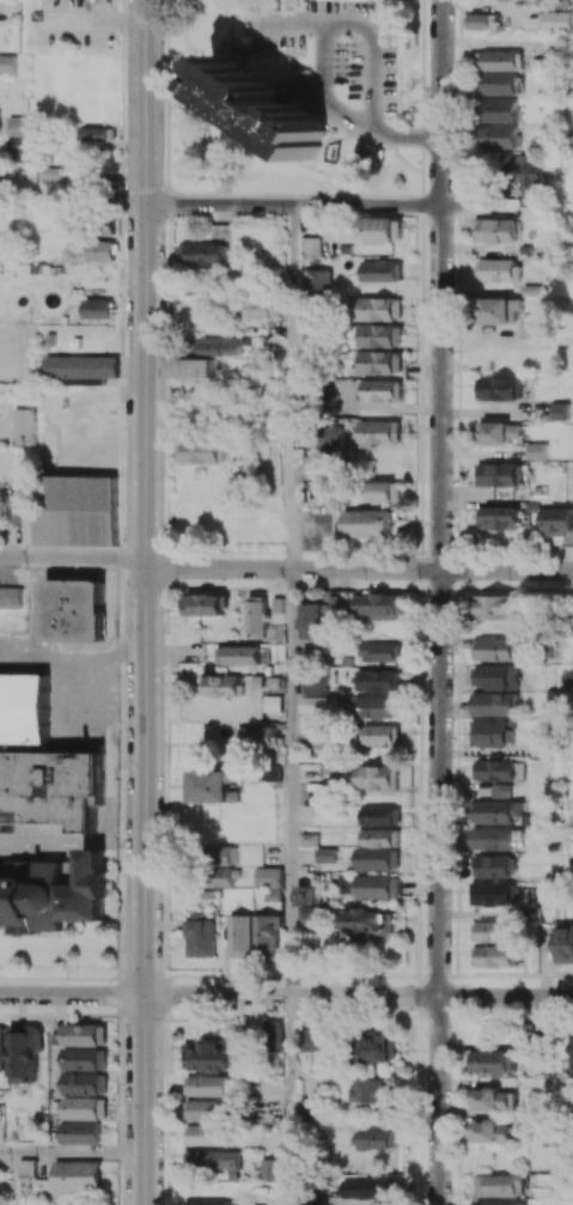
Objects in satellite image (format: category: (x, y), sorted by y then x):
building: (480, 20)
building: (556, 20)
road: (321, 43)
building: (502, 60)
building: (7, 62)
building: (500, 83)
building: (267, 106)
building: (501, 110)
building: (16, 126)
building: (95, 133)
building: (501, 136)
building: (17, 146)
building: (523, 171)
building: (87, 187)
road: (294, 203)
building: (104, 227)
building: (380, 229)
building: (495, 230)
building: (310, 247)
building: (100, 250)
building: (203, 252)
building: (500, 269)
building: (382, 270)
building: (316, 281)
building: (97, 308)
building: (263, 308)
building: (380, 309)
building: (498, 310)
building: (534, 325)
building: (380, 335)
building: (219, 346)
building: (380, 361)
building: (190, 367)
building: (81, 369)
road: (291, 387)
building: (502, 388)
building: (382, 389)
building: (560, 410)
building: (25, 426)
building: (499, 431)
building: (379, 432)
building: (330, 437)
building: (537, 450)
building: (206, 451)
building: (502, 474)
building: (386, 491)
building: (74, 512)
building: (498, 517)
building: (557, 521)
building: (371, 523)
road: (73, 556)
road: (359, 570)
building: (10, 597)
road: (145, 602)
road: (440, 602)
building: (206, 604)
building: (380, 605)
building: (493, 607)
building: (73, 609)
building: (256, 614)
building: (315, 619)
building: (494, 649)
building: (382, 651)
building: (240, 655)
building: (499, 676)
building: (566, 676)
building: (378, 680)
building: (225, 684)
building: (319, 704)
building: (493, 704)
building: (379, 706)
building: (23, 708)
building: (492, 732)
building: (382, 735)
building: (257, 736)
building: (325, 737)
building: (542, 749)
building: (496, 769)
building: (379, 778)
road: (289, 783)
building: (214, 785)
building: (50, 787)
building: (502, 790)
building: (499, 811)
building: (383, 815)
building: (493, 838)
building: (310, 839)
building: (380, 850)
building: (327, 854)
building: (226, 865)
building: (496, 865)
building: (269, 876)
building: (379, 886)
building: (54, 893)
building: (495, 894)
building: (306, 895)
building: (310, 915)
building: (373, 923)
building: (498, 931)
building: (269, 932)
building: (242, 935)
building: (201, 937)
building: (563, 943)
building: (495, 955)
road: (286, 996)
building: (85, 1034)
building: (273, 1035)
building: (309, 1040)
building: (1, 1047)
building: (377, 1048)
building: (25, 1052)
building: (571, 1052)
building: (85, 1058)
building: (492, 1061)
building: (85, 1083)
building: (211, 1085)
building: (368, 1089)
building: (494, 1099)
road: (288, 1100)
building: (85, 1107)
building: (209, 1109)
building: (492, 1131)
building: (81, 1132)
building: (209, 1134)
building: (374, 1138)
road: (72, 1154)
building: (214, 1160)
building: (26, 1167)
building: (270, 1168)
building: (77, 1176)
building: (500, 1185)
building: (370, 1187)
building: (211, 1201)
building: (502, 1203)

